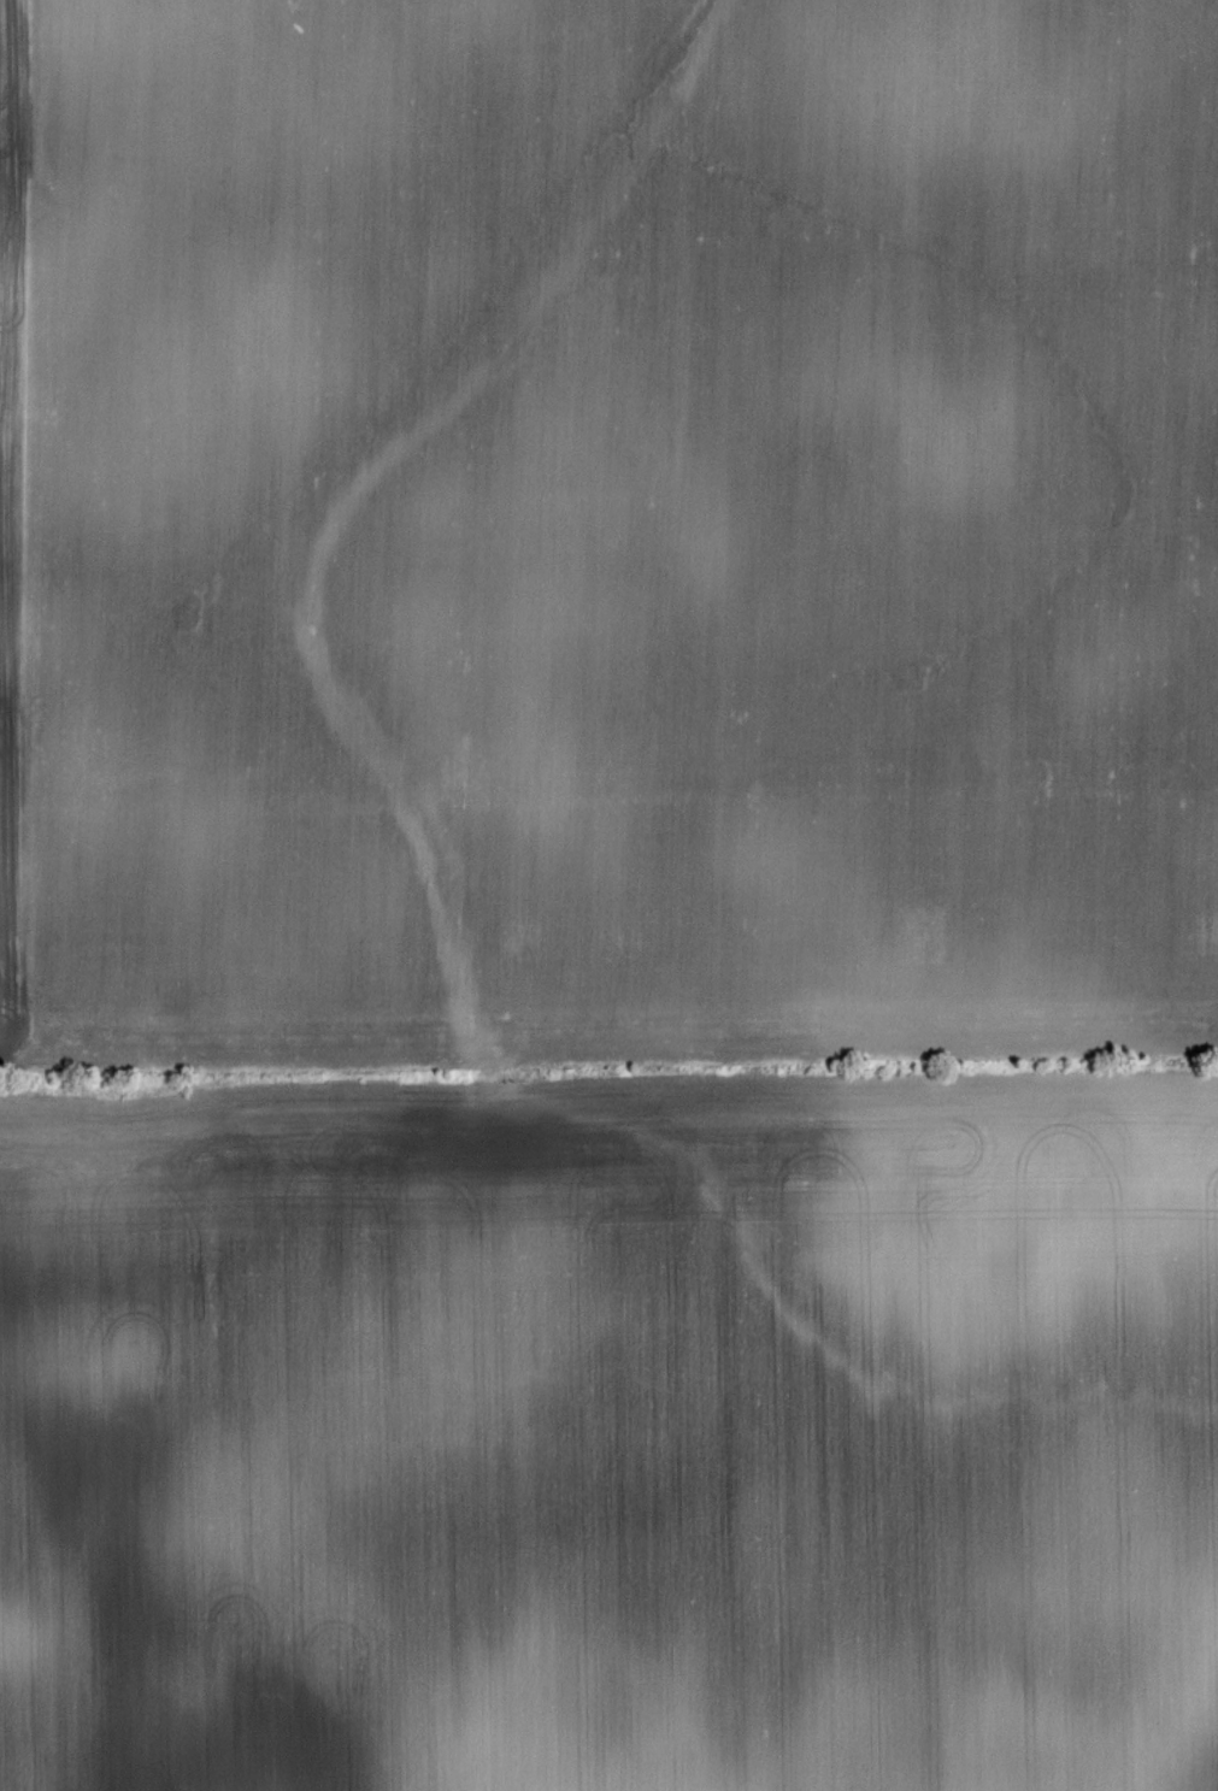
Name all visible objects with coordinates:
crop: (607, 530)
crop: (612, 1433)

